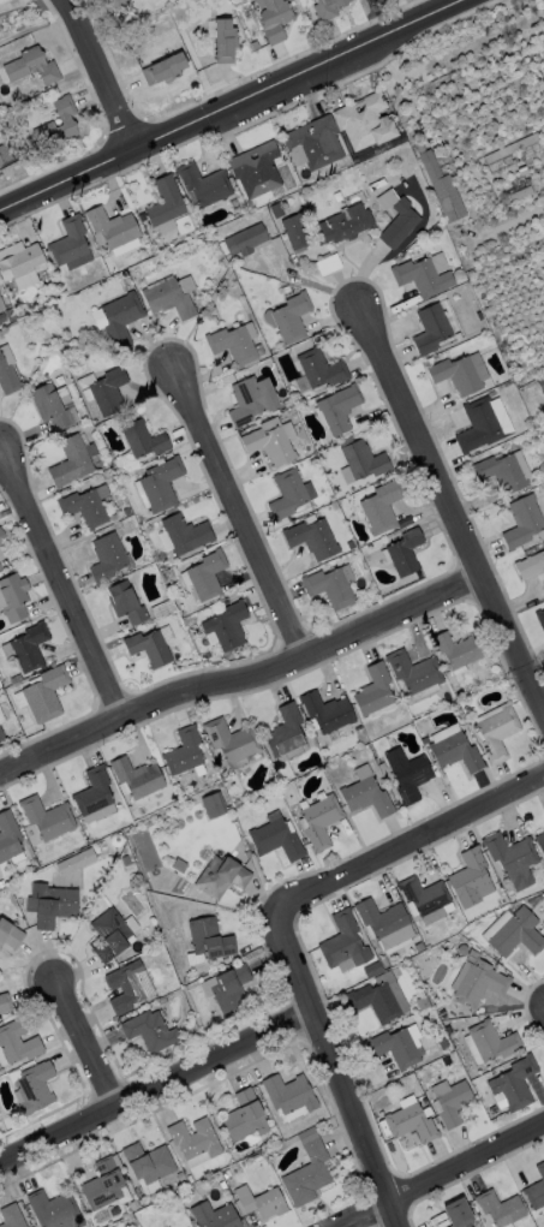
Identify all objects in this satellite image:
building: (114, 4)
building: (328, 8)
building: (275, 20)
building: (225, 41)
building: (255, 46)
building: (18, 66)
building: (163, 70)
road: (101, 73)
road: (400, 90)
road: (231, 105)
building: (65, 119)
building: (365, 123)
building: (315, 143)
building: (279, 144)
building: (512, 148)
building: (5, 155)
building: (365, 168)
building: (256, 171)
building: (231, 180)
building: (204, 185)
building: (442, 189)
building: (521, 195)
building: (337, 197)
building: (166, 202)
building: (276, 212)
building: (396, 219)
building: (343, 226)
building: (113, 227)
building: (294, 231)
building: (246, 240)
building: (68, 243)
building: (277, 246)
building: (328, 264)
building: (20, 266)
building: (125, 274)
building: (422, 278)
building: (286, 290)
building: (168, 299)
building: (1, 305)
building: (10, 315)
building: (479, 317)
building: (1, 318)
building: (121, 318)
building: (289, 318)
building: (431, 329)
building: (44, 333)
building: (233, 346)
building: (258, 350)
building: (321, 370)
building: (456, 375)
building: (7, 379)
building: (540, 385)
building: (109, 392)
building: (251, 400)
building: (65, 401)
building: (295, 403)
building: (288, 405)
building: (50, 407)
building: (339, 409)
building: (479, 425)
building: (144, 440)
building: (271, 442)
building: (313, 460)
building: (364, 460)
building: (71, 463)
building: (540, 467)
building: (502, 473)
building: (161, 484)
building: (353, 489)
building: (287, 495)
building: (382, 507)
building: (84, 508)
road: (452, 508)
building: (127, 512)
road: (239, 513)
building: (522, 523)
building: (186, 535)
building: (2, 540)
building: (312, 540)
building: (199, 552)
building: (531, 552)
building: (405, 553)
building: (107, 559)
building: (180, 560)
building: (531, 566)
building: (0, 568)
building: (207, 576)
building: (418, 576)
road: (62, 580)
building: (329, 589)
building: (13, 597)
building: (126, 604)
building: (163, 609)
building: (540, 619)
building: (227, 626)
building: (30, 648)
building: (149, 648)
building: (456, 650)
building: (414, 673)
building: (16, 679)
road: (243, 683)
building: (375, 691)
building: (46, 695)
building: (327, 713)
building: (359, 729)
building: (286, 732)
building: (443, 732)
building: (497, 734)
building: (1, 735)
building: (232, 740)
building: (425, 740)
building: (184, 752)
building: (455, 752)
building: (381, 763)
building: (408, 775)
building: (137, 779)
building: (94, 792)
building: (366, 798)
building: (214, 805)
building: (47, 818)
building: (321, 822)
building: (8, 838)
road: (412, 839)
building: (116, 840)
building: (276, 840)
building: (540, 842)
building: (247, 854)
building: (513, 859)
building: (125, 862)
building: (68, 865)
building: (34, 866)
building: (221, 877)
building: (470, 877)
building: (425, 899)
building: (50, 905)
building: (385, 923)
building: (10, 935)
building: (516, 935)
building: (110, 936)
building: (209, 940)
building: (343, 942)
building: (428, 947)
building: (418, 948)
building: (462, 951)
building: (385, 965)
building: (426, 969)
building: (372, 971)
building: (321, 979)
building: (479, 984)
building: (127, 988)
building: (231, 990)
building: (376, 1002)
building: (5, 1003)
building: (423, 1003)
building: (150, 1031)
road: (86, 1042)
building: (492, 1042)
building: (18, 1043)
building: (394, 1048)
building: (446, 1061)
road: (339, 1070)
road: (155, 1080)
building: (515, 1084)
building: (34, 1089)
building: (288, 1095)
building: (452, 1103)
building: (243, 1116)
building: (411, 1124)
building: (285, 1133)
building: (327, 1137)
building: (195, 1139)
building: (148, 1163)
building: (226, 1174)
building: (307, 1175)
road: (447, 1175)
building: (180, 1178)
building: (190, 1180)
building: (102, 1185)
building: (537, 1190)
building: (261, 1203)
building: (500, 1209)
building: (54, 1210)
building: (458, 1214)
building: (11, 1216)
building: (214, 1216)
building: (31, 1226)

